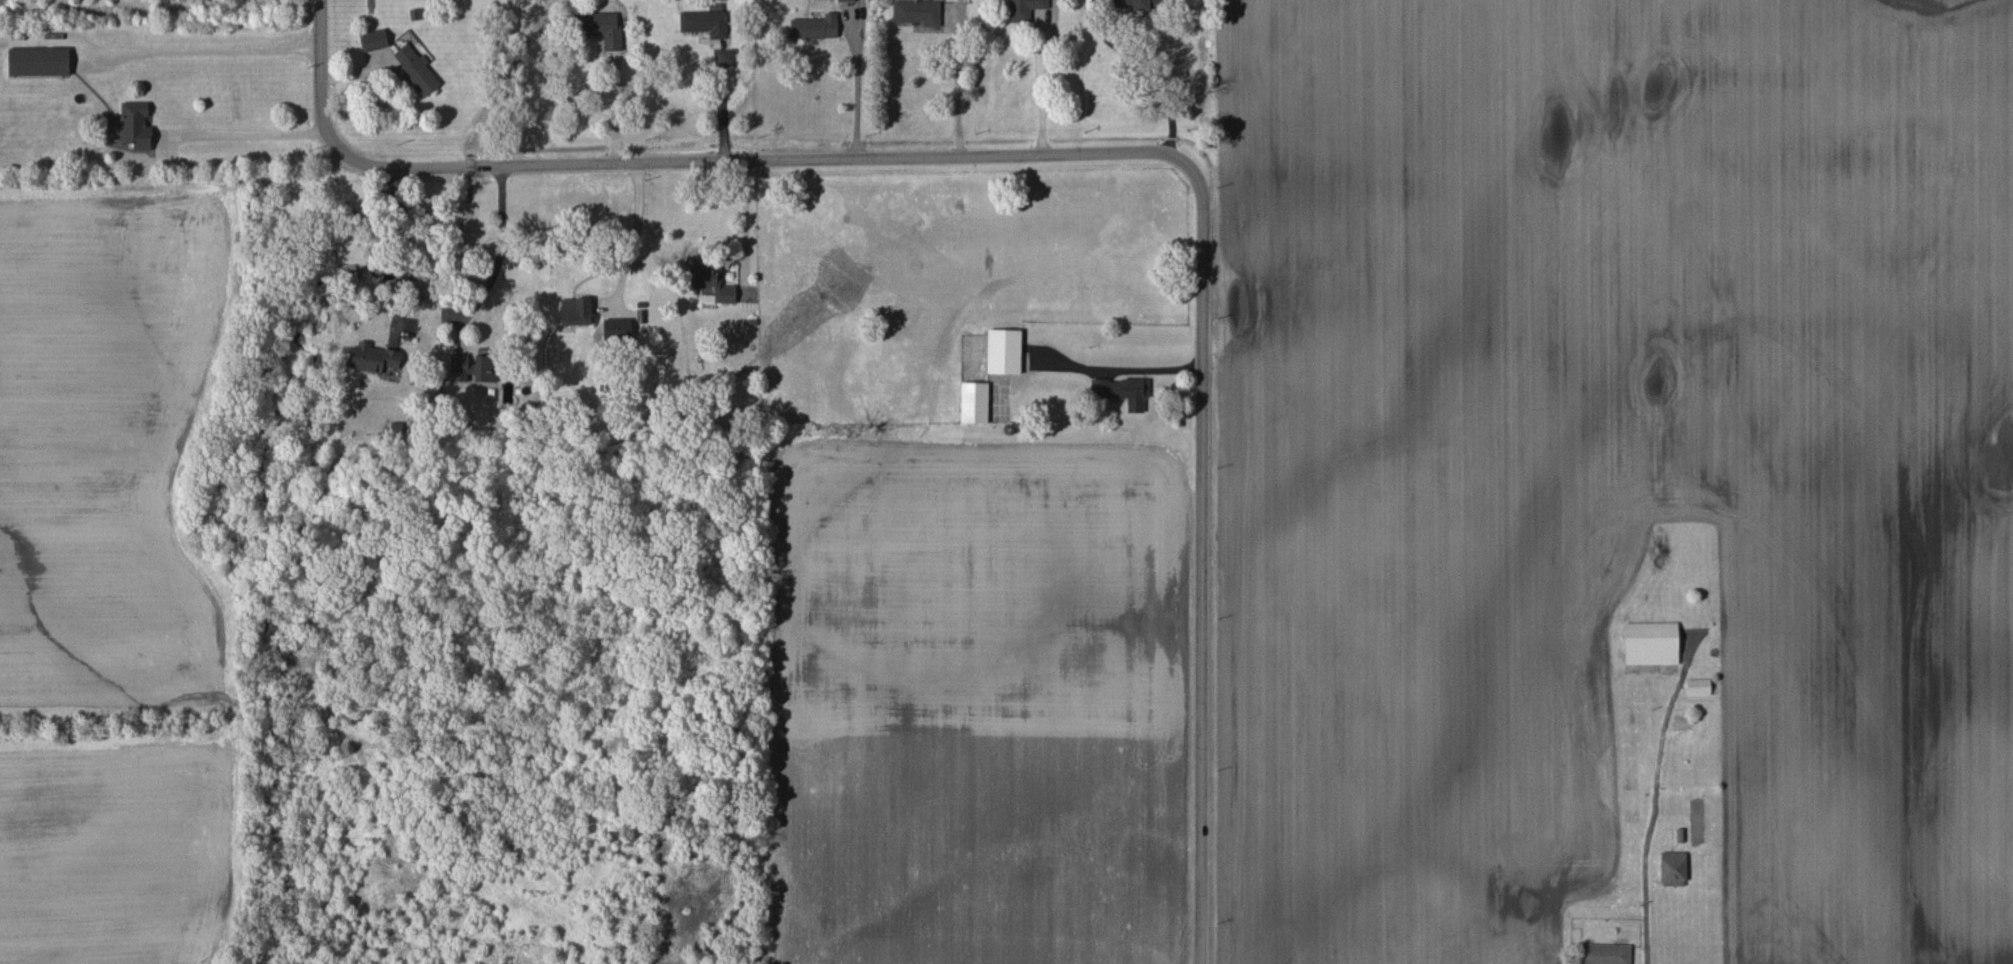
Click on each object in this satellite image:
building: (845, 0)
building: (1139, 4)
building: (1024, 9)
building: (917, 12)
building: (706, 20)
building: (815, 27)
building: (600, 28)
building: (373, 39)
road: (214, 52)
building: (38, 61)
building: (416, 69)
road: (1141, 75)
road: (958, 83)
road: (859, 87)
road: (1044, 87)
road: (722, 108)
road: (614, 110)
building: (135, 125)
road: (251, 134)
road: (1090, 150)
road: (745, 226)
road: (638, 227)
road: (502, 236)
road: (402, 243)
building: (710, 282)
building: (575, 311)
building: (1003, 351)
building: (471, 367)
road: (1150, 371)
building: (1122, 391)
building: (973, 402)
park: (156, 437)
building: (1650, 643)
building: (1698, 686)
road: (1652, 819)
building: (1673, 868)
road: (1045, 899)
building: (424, 905)
parking lot: (355, 917)
parking lot: (656, 919)
road: (1129, 933)
road: (653, 936)
road: (363, 937)
building: (1604, 954)

